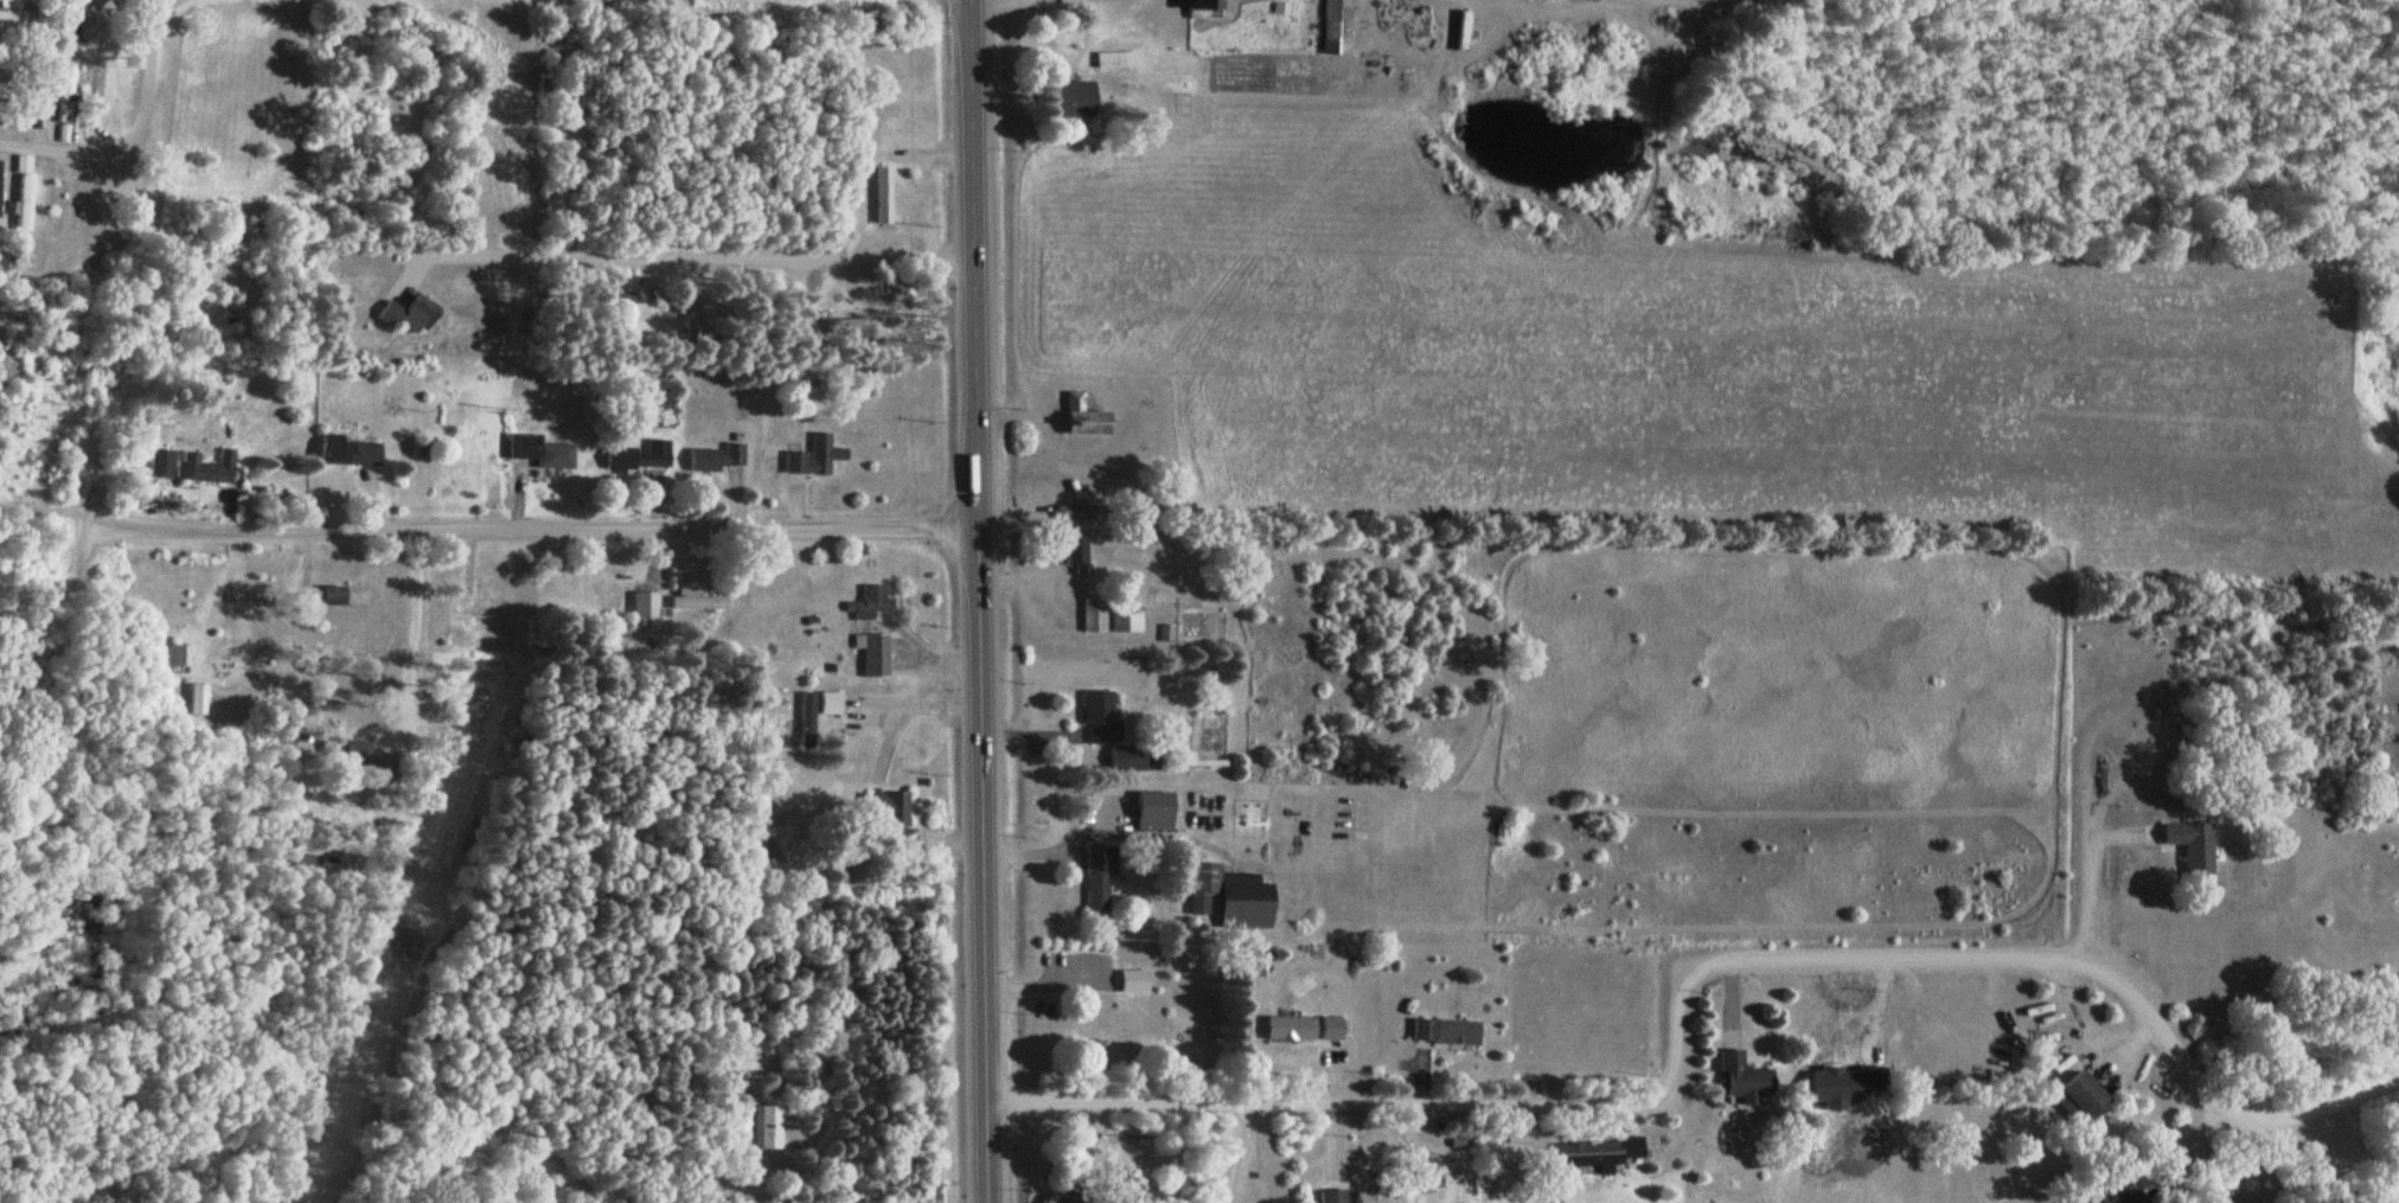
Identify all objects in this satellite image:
building: (1205, 8)
building: (72, 21)
building: (1338, 27)
building: (1075, 100)
building: (66, 104)
building: (0, 116)
road: (134, 134)
building: (0, 190)
building: (24, 194)
building: (884, 196)
road: (692, 262)
building: (695, 316)
building: (409, 318)
building: (829, 329)
building: (1089, 423)
building: (350, 452)
building: (543, 452)
building: (641, 457)
building: (718, 457)
building: (817, 457)
building: (162, 463)
building: (207, 469)
building: (1083, 513)
road: (529, 526)
building: (1080, 553)
building: (348, 596)
building: (697, 600)
road: (979, 601)
building: (871, 604)
building: (647, 606)
building: (1094, 616)
building: (1128, 625)
building: (876, 655)
building: (179, 657)
road: (40, 673)
building: (198, 700)
building: (831, 704)
road: (898, 705)
building: (808, 721)
building: (1102, 721)
building: (371, 760)
building: (1135, 760)
road: (2391, 808)
building: (1156, 811)
road: (1054, 844)
building: (2194, 847)
building: (1099, 881)
road: (2084, 883)
building: (1233, 898)
building: (1135, 983)
road: (1687, 988)
building: (1092, 1025)
building: (1306, 1030)
building: (1447, 1034)
building: (1747, 1079)
building: (2083, 1100)
building: (760, 1125)
building: (1599, 1153)
road: (1242, 1154)
building: (1336, 1197)
building: (1383, 1197)
building: (2115, 1198)
building: (1068, 1199)

